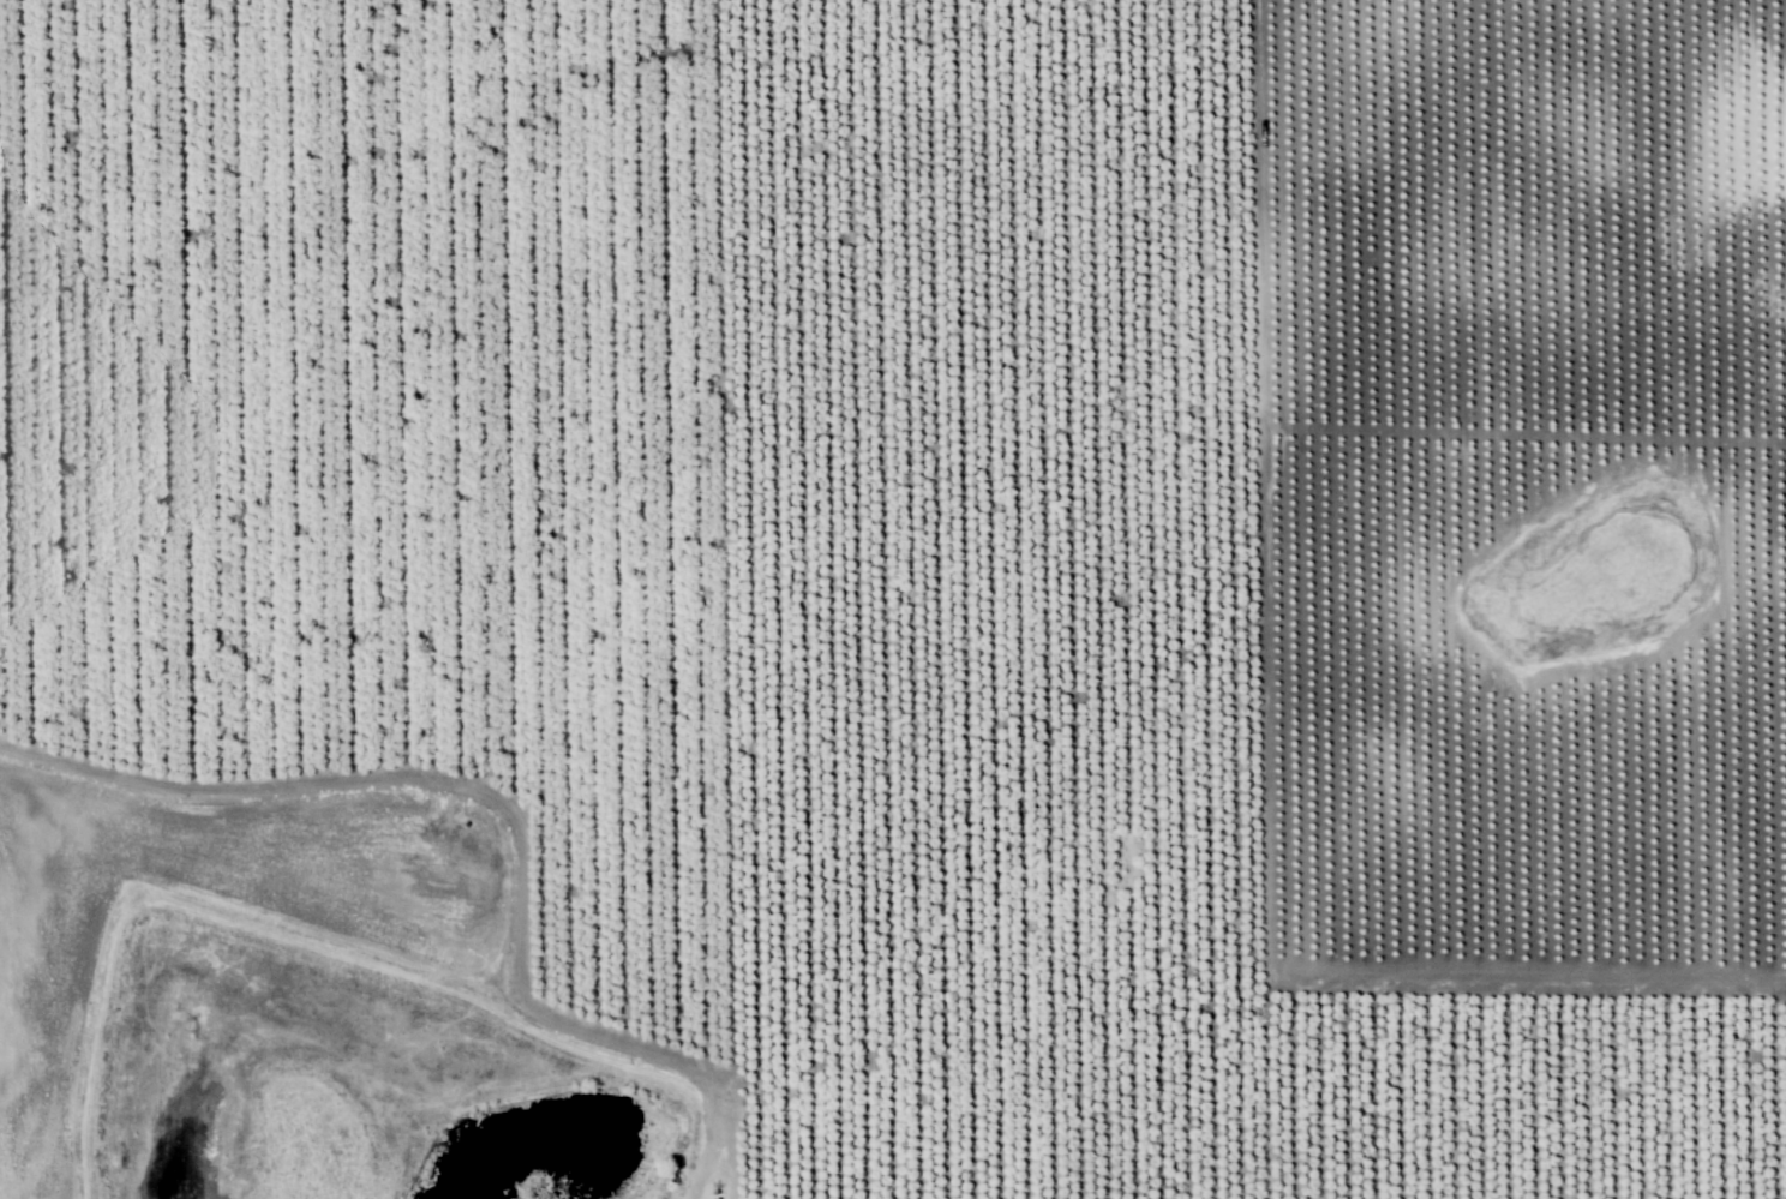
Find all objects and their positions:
crop: (893, 599)

